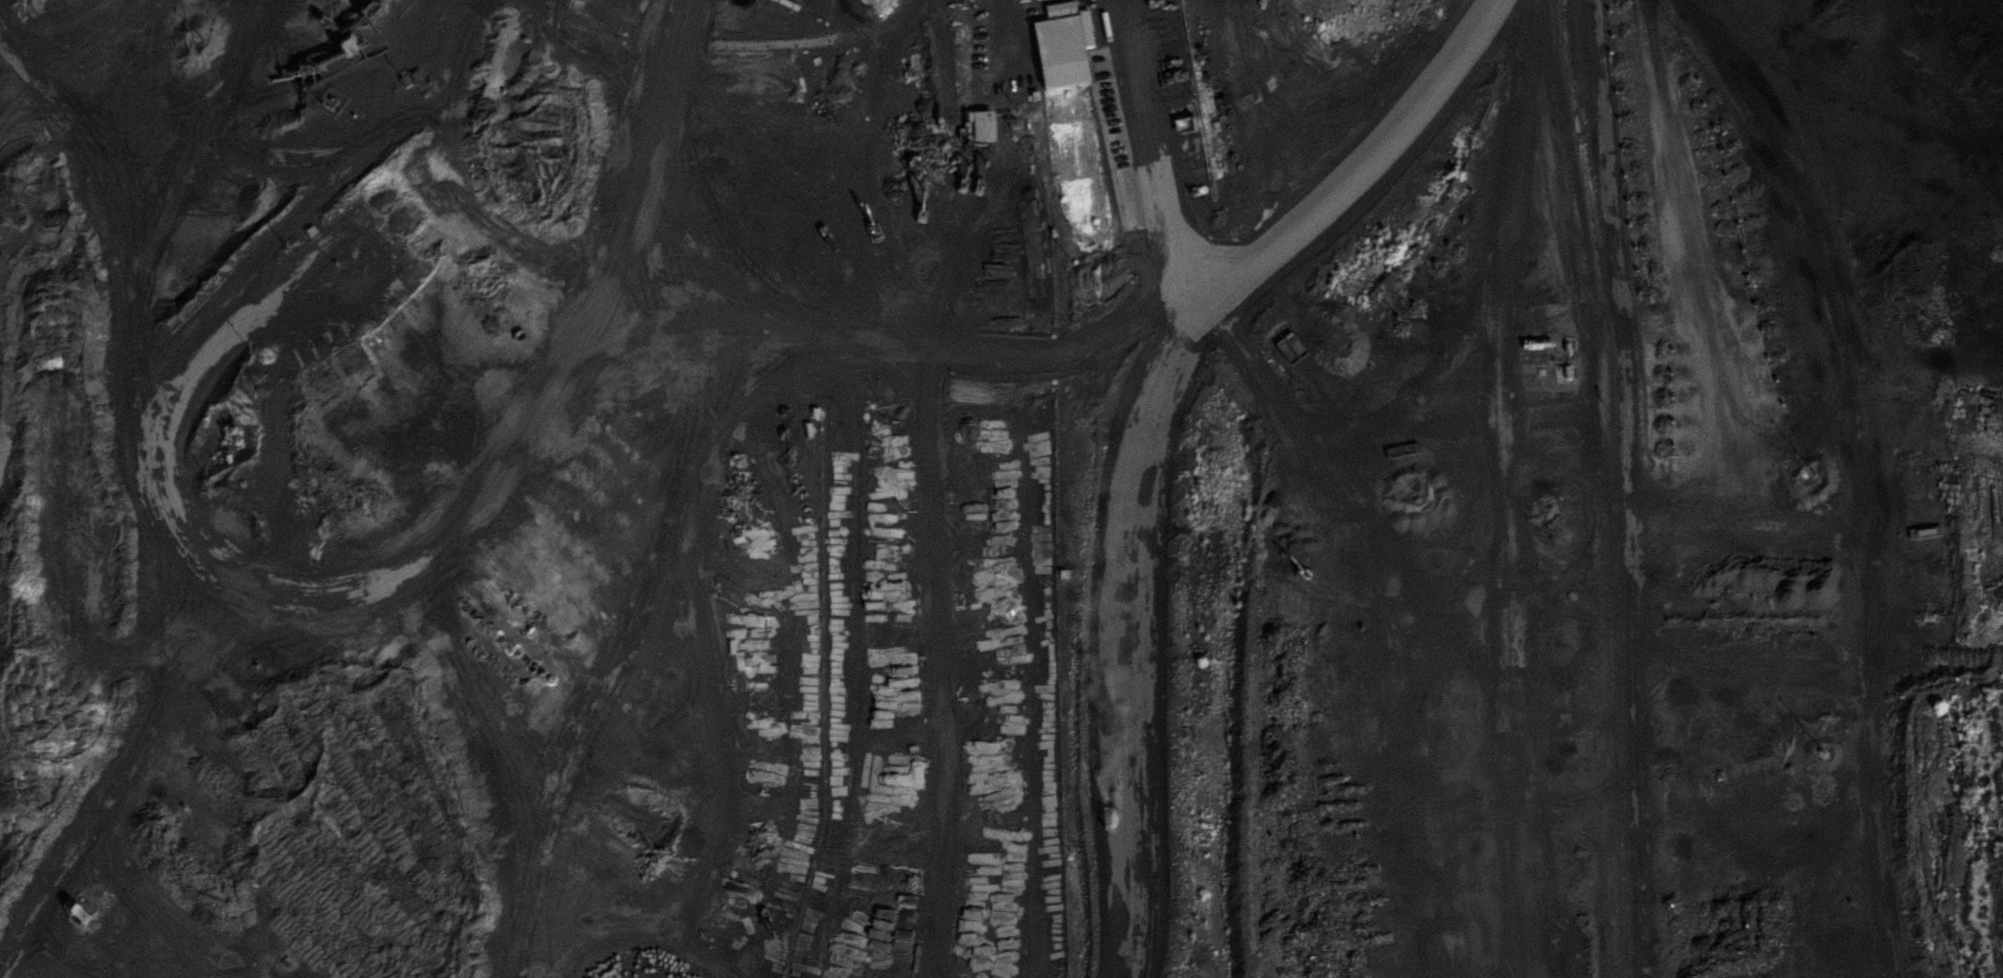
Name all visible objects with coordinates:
landfill: (1916, 59)
railway: (1613, 487)

